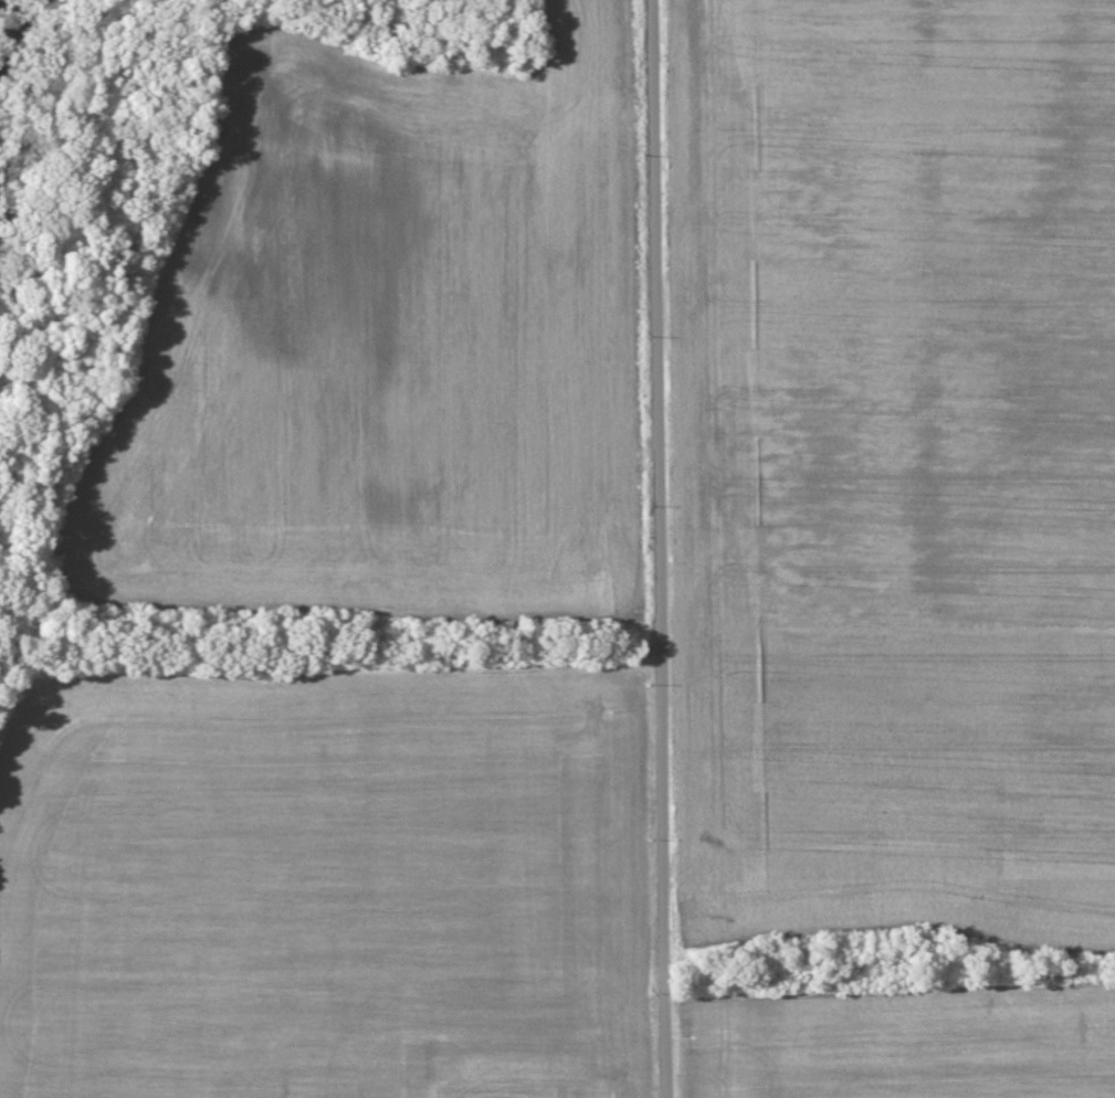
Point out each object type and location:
road: (660, 549)

